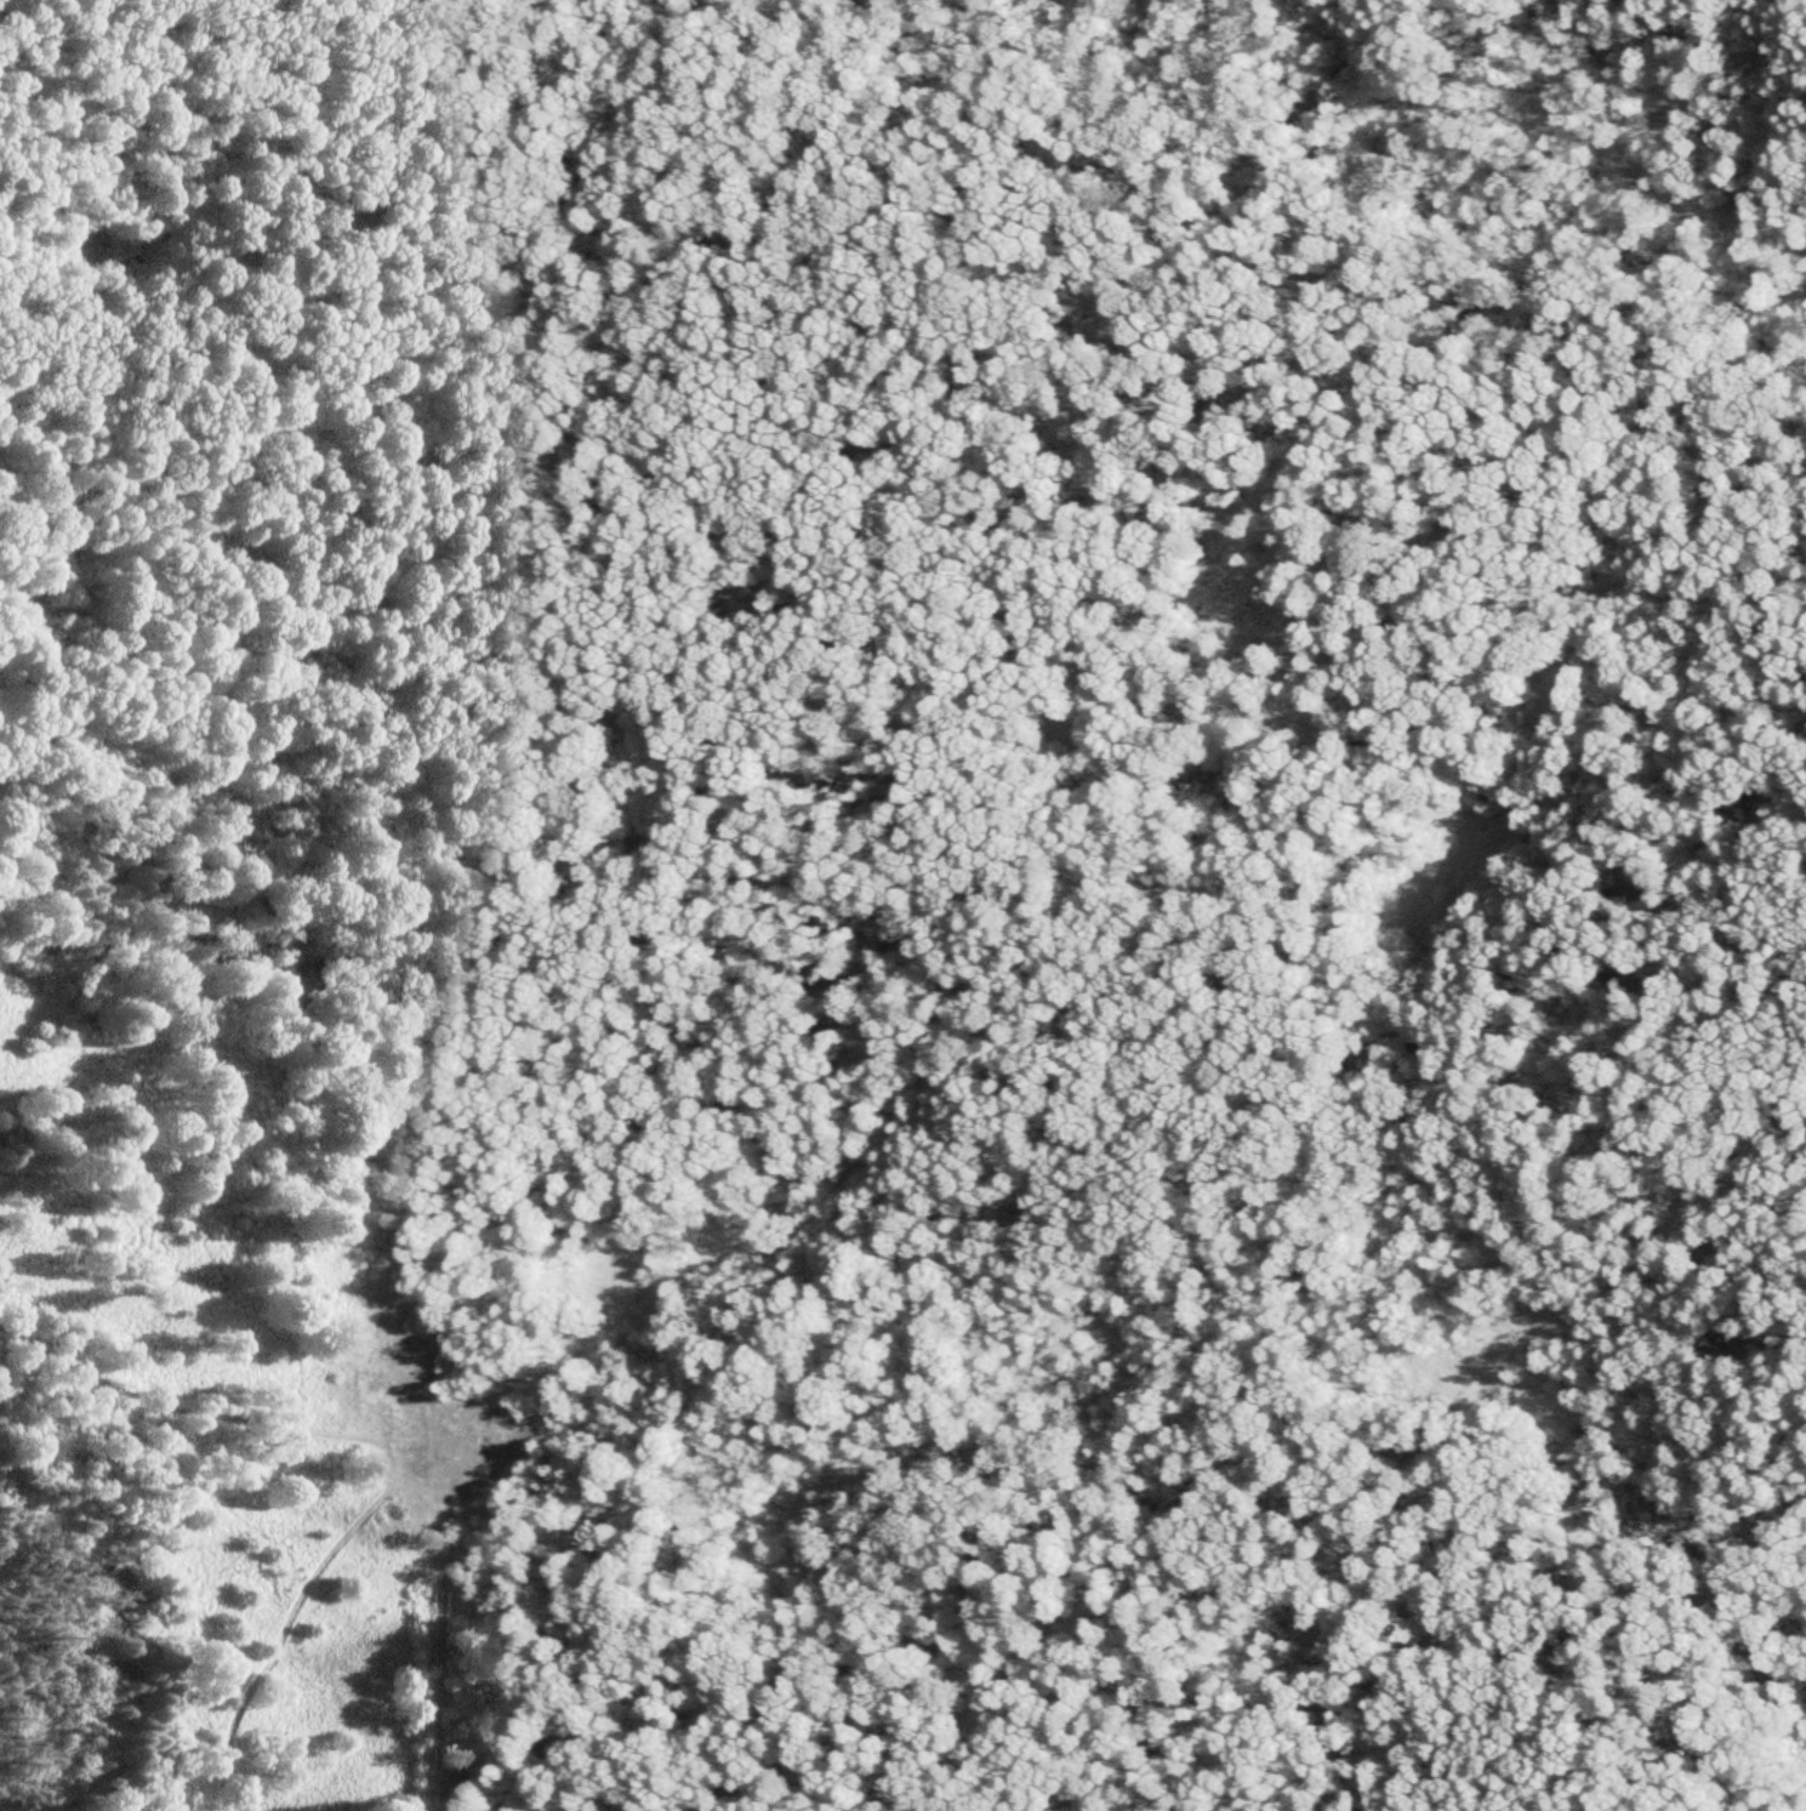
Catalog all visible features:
road: (180, 1406)
road: (286, 1613)

